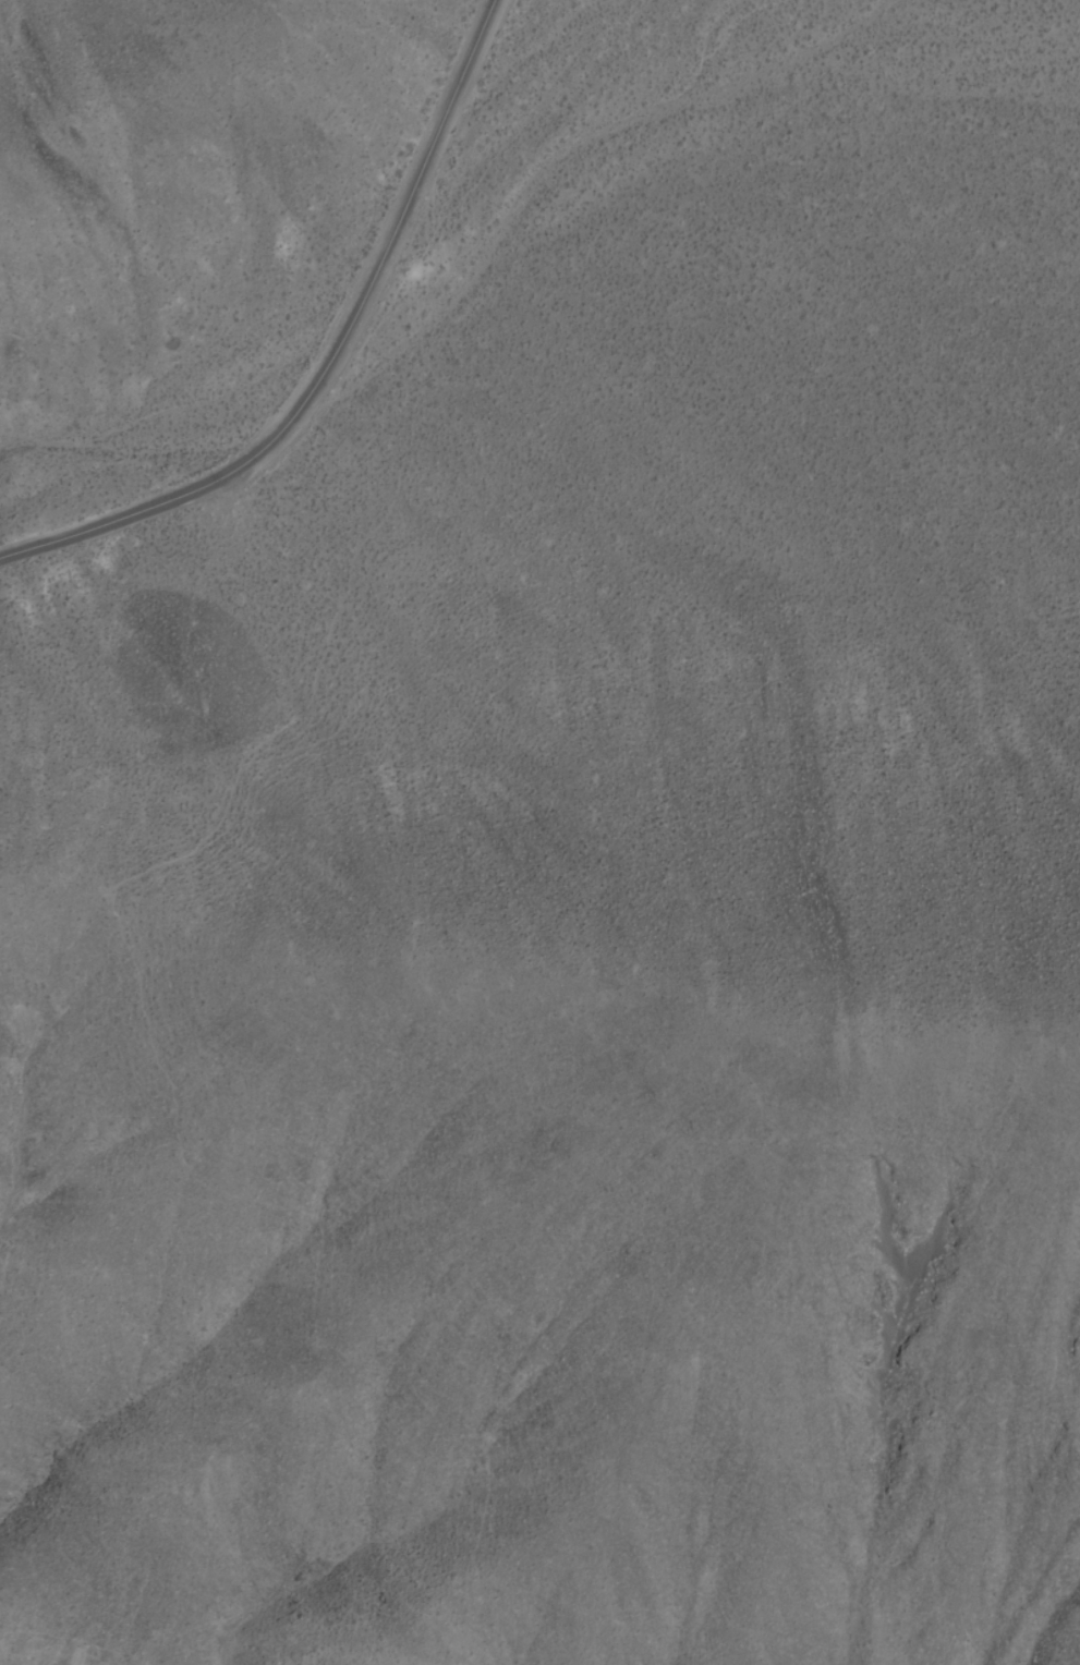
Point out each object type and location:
road: (328, 362)

